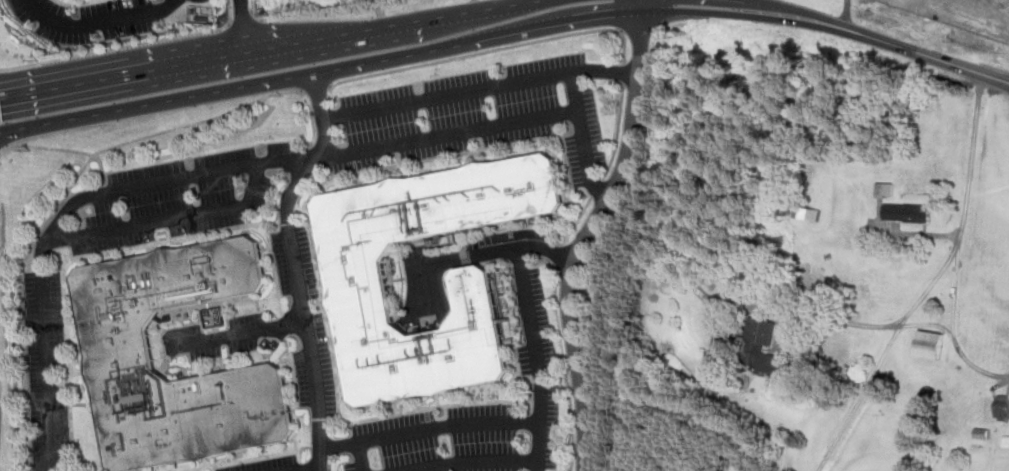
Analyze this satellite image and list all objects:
road: (79, 4)
road: (253, 10)
road: (484, 10)
road: (794, 10)
road: (847, 14)
road: (261, 19)
road: (98, 21)
road: (243, 21)
road: (231, 25)
road: (243, 26)
road: (676, 26)
road: (640, 29)
road: (335, 35)
road: (153, 43)
road: (625, 46)
road: (419, 52)
road: (925, 54)
road: (25, 67)
road: (123, 75)
road: (624, 75)
road: (479, 90)
parking lot: (477, 116)
road: (191, 124)
road: (619, 135)
road: (581, 139)
road: (318, 148)
road: (65, 150)
road: (186, 176)
road: (597, 190)
building: (885, 190)
parking lot: (180, 197)
building: (808, 213)
building: (907, 213)
road: (169, 219)
road: (578, 223)
road: (587, 232)
road: (497, 251)
road: (558, 256)
road: (540, 265)
building: (357, 280)
road: (931, 284)
road: (423, 285)
road: (954, 291)
parking lot: (305, 319)
road: (907, 324)
road: (235, 334)
parking lot: (215, 338)
building: (117, 341)
road: (310, 343)
building: (761, 344)
building: (930, 344)
road: (535, 358)
parking lot: (47, 371)
building: (1003, 408)
parking lot: (477, 416)
road: (428, 428)
road: (361, 456)
road: (473, 461)
parking lot: (266, 464)
road: (313, 469)

